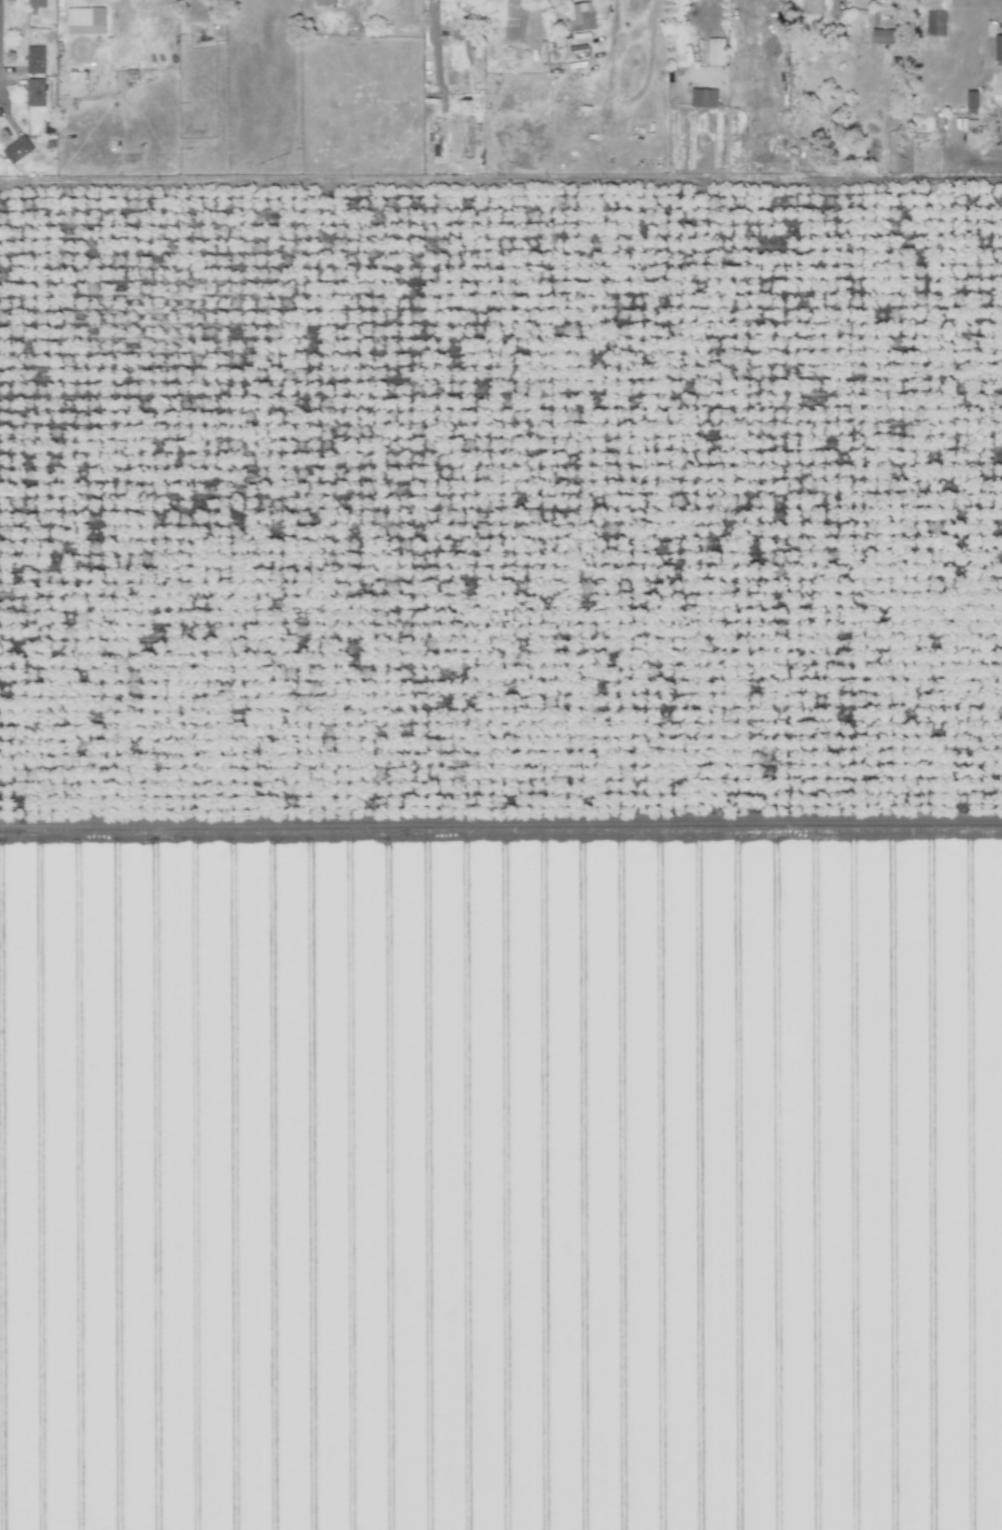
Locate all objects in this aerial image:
building: (36, 3)
building: (327, 3)
building: (472, 3)
building: (808, 7)
building: (83, 16)
building: (583, 17)
building: (453, 28)
building: (203, 35)
building: (883, 37)
building: (999, 51)
building: (718, 52)
building: (35, 59)
building: (34, 92)
building: (705, 100)
building: (974, 104)
building: (17, 149)
road: (501, 184)

